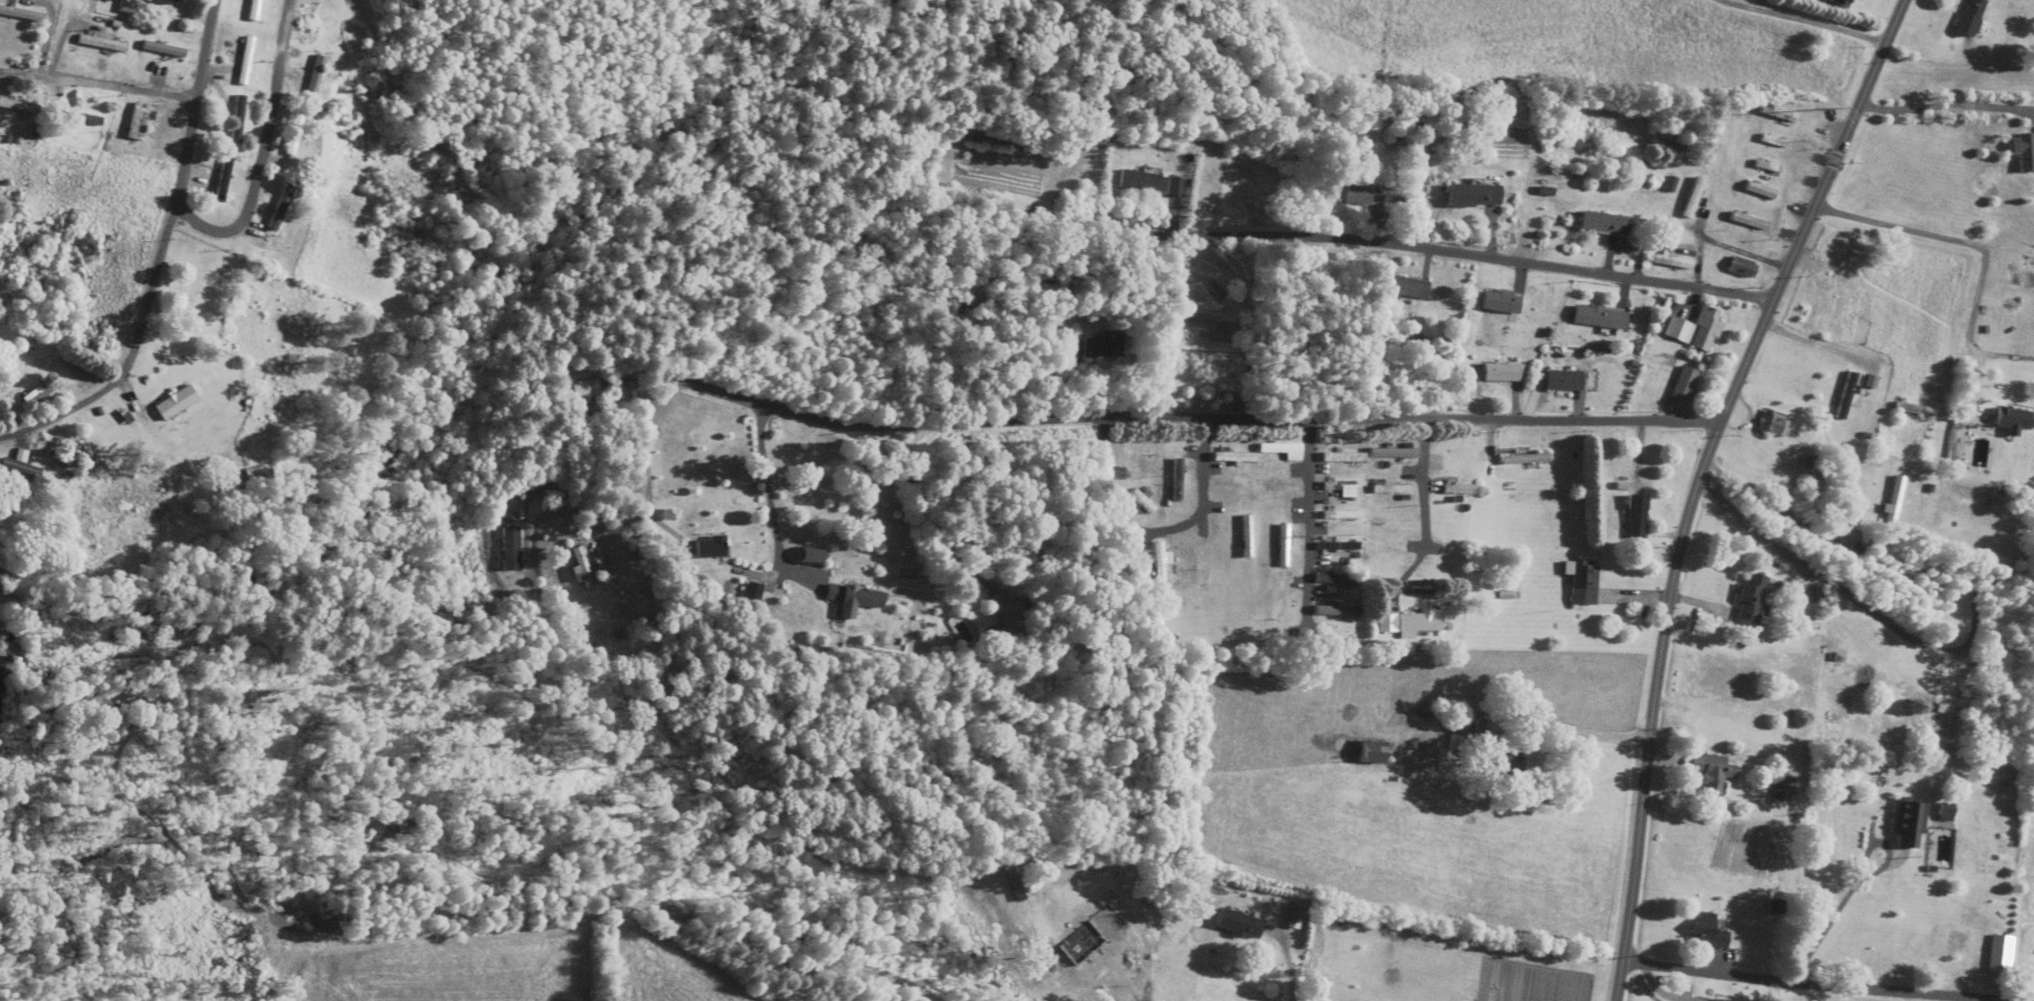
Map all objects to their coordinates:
building: (162, 2)
building: (1834, 4)
building: (122, 7)
building: (249, 10)
building: (20, 15)
building: (1965, 18)
road: (1804, 19)
building: (97, 44)
building: (159, 50)
building: (241, 62)
building: (310, 78)
road: (96, 85)
road: (1945, 105)
building: (17, 108)
building: (1773, 114)
building: (74, 118)
building: (233, 121)
building: (135, 123)
building: (289, 136)
building: (1771, 142)
road: (258, 151)
building: (2021, 152)
building: (1765, 167)
building: (219, 179)
building: (1133, 183)
building: (1669, 186)
building: (1170, 188)
building: (1757, 191)
building: (1352, 197)
building: (1465, 198)
building: (1691, 199)
road: (1125, 206)
building: (275, 208)
building: (1746, 222)
building: (1597, 225)
road: (1975, 255)
road: (159, 256)
building: (1833, 258)
building: (1668, 263)
building: (1738, 269)
road: (1585, 276)
building: (1401, 289)
building: (191, 297)
building: (1493, 303)
building: (1594, 318)
building: (1690, 331)
building: (1094, 349)
building: (1496, 373)
building: (1558, 382)
building: (1678, 388)
building: (571, 394)
building: (1843, 396)
building: (28, 397)
building: (169, 404)
building: (1912, 411)
road: (1164, 417)
building: (2006, 422)
building: (1768, 424)
building: (59, 448)
building: (1277, 451)
building: (1339, 458)
building: (1228, 459)
building: (1523, 459)
building: (14, 466)
building: (248, 474)
building: (1172, 481)
road: (1694, 481)
road: (629, 483)
building: (1333, 485)
building: (1386, 489)
building: (1455, 490)
building: (1135, 501)
building: (1893, 501)
road: (771, 502)
building: (1336, 514)
building: (1632, 516)
road: (636, 517)
building: (1393, 531)
building: (1243, 536)
building: (1279, 545)
building: (1333, 545)
building: (700, 546)
building: (502, 547)
building: (802, 556)
building: (1155, 563)
road: (1803, 564)
building: (1199, 565)
building: (572, 566)
road: (762, 575)
building: (1331, 579)
building: (1579, 581)
building: (1746, 598)
building: (847, 599)
building: (1277, 602)
building: (1333, 611)
building: (1407, 622)
building: (1368, 753)
building: (1504, 764)
building: (1710, 772)
building: (1782, 789)
building: (1940, 812)
building: (1905, 824)
building: (1973, 898)
building: (1076, 916)
building: (1236, 925)
building: (1704, 932)
building: (1947, 943)
building: (1997, 955)
road: (1290, 959)
building: (1093, 965)
road: (1823, 982)

